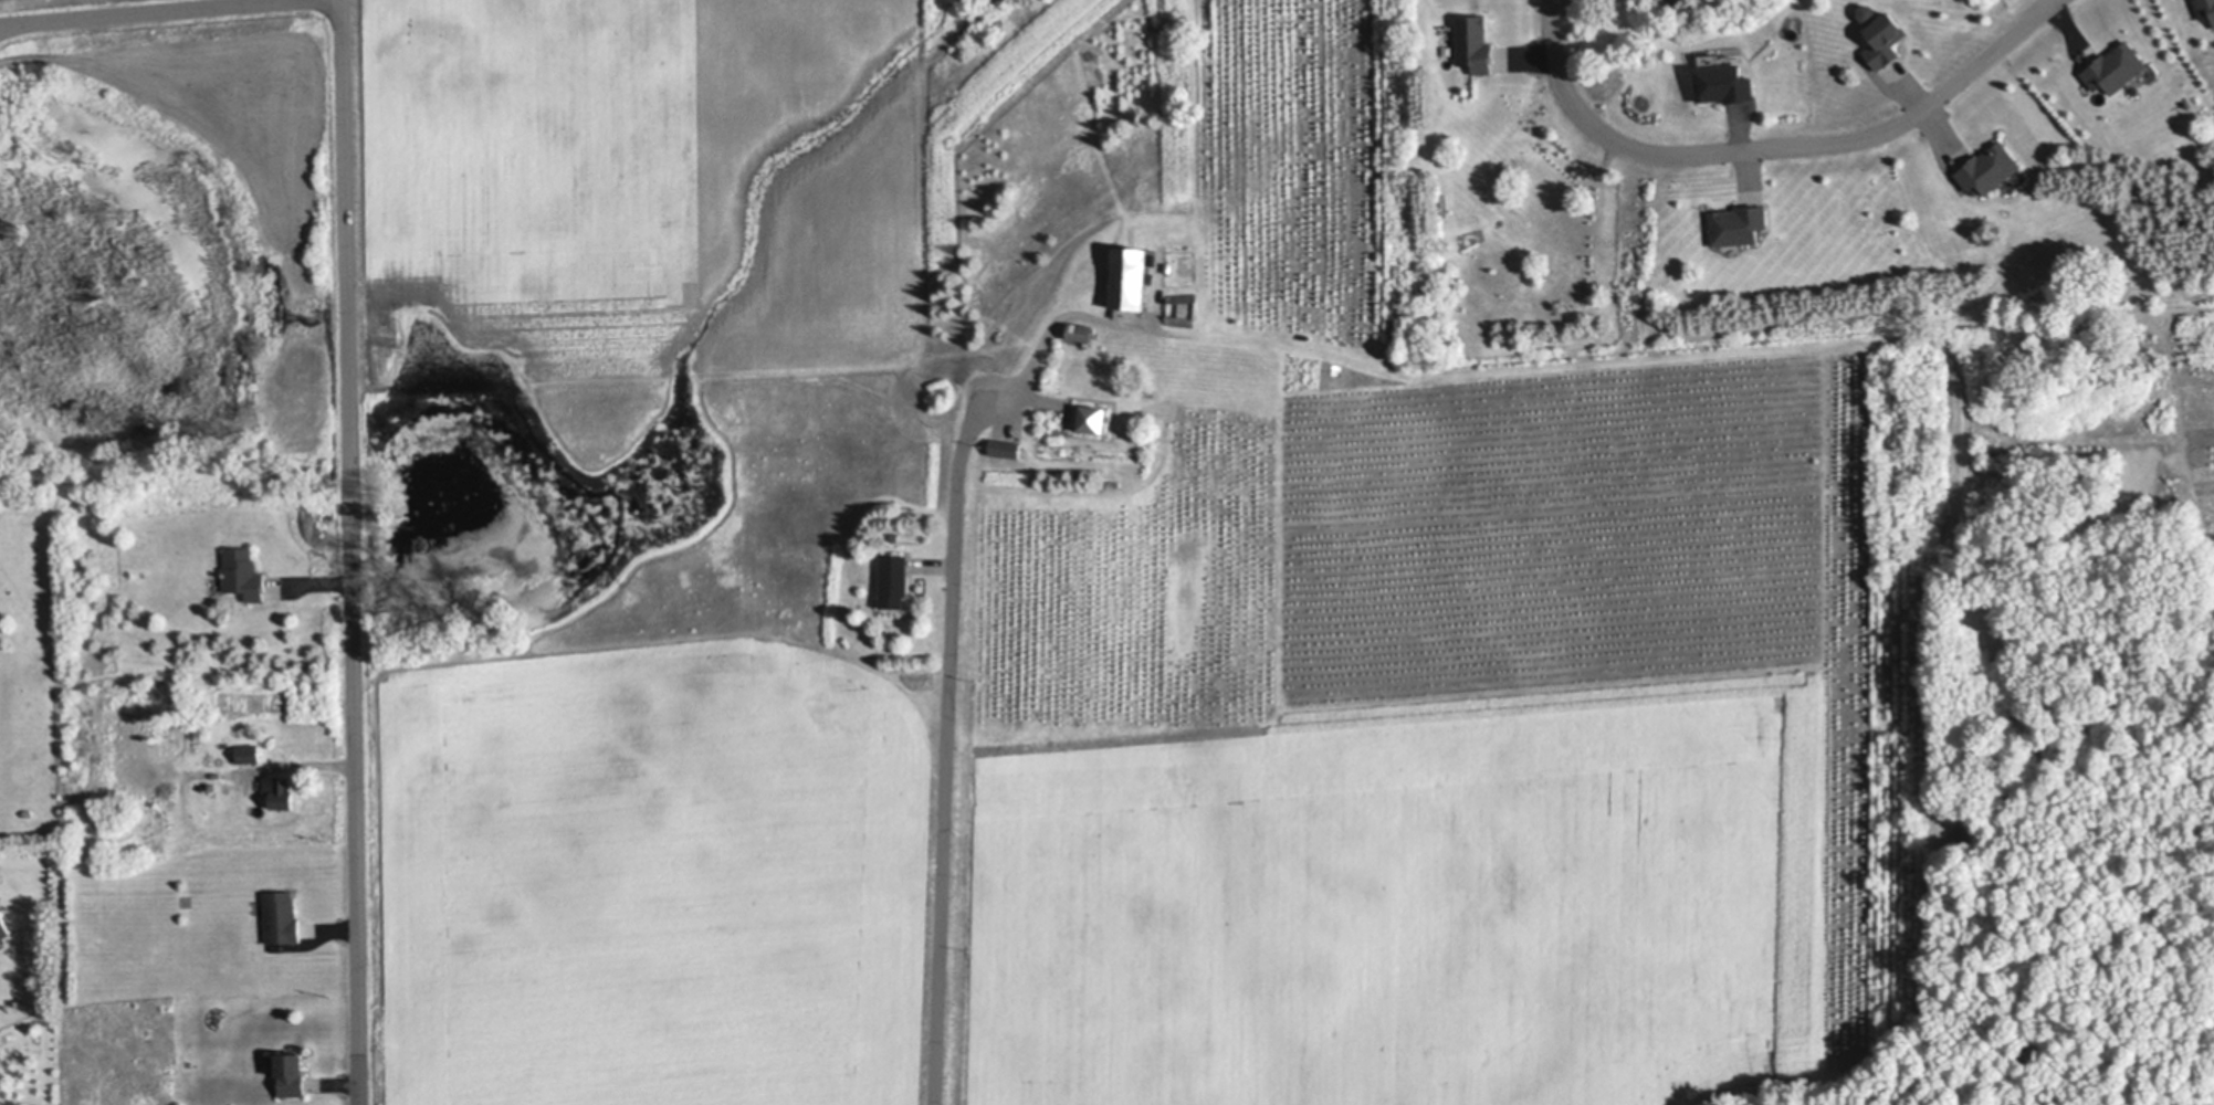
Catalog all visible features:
building: (2205, 9)
road: (139, 12)
building: (1884, 40)
building: (1473, 42)
building: (2116, 69)
building: (1723, 83)
road: (1774, 147)
building: (1990, 170)
crop: (646, 187)
building: (1738, 225)
building: (1130, 280)
building: (1183, 311)
building: (1082, 331)
building: (1089, 418)
building: (1007, 448)
road: (349, 552)
building: (243, 573)
building: (894, 580)
building: (162, 747)
building: (248, 751)
building: (138, 757)
road: (946, 773)
building: (280, 791)
building: (283, 916)
building: (3, 927)
building: (293, 1076)

